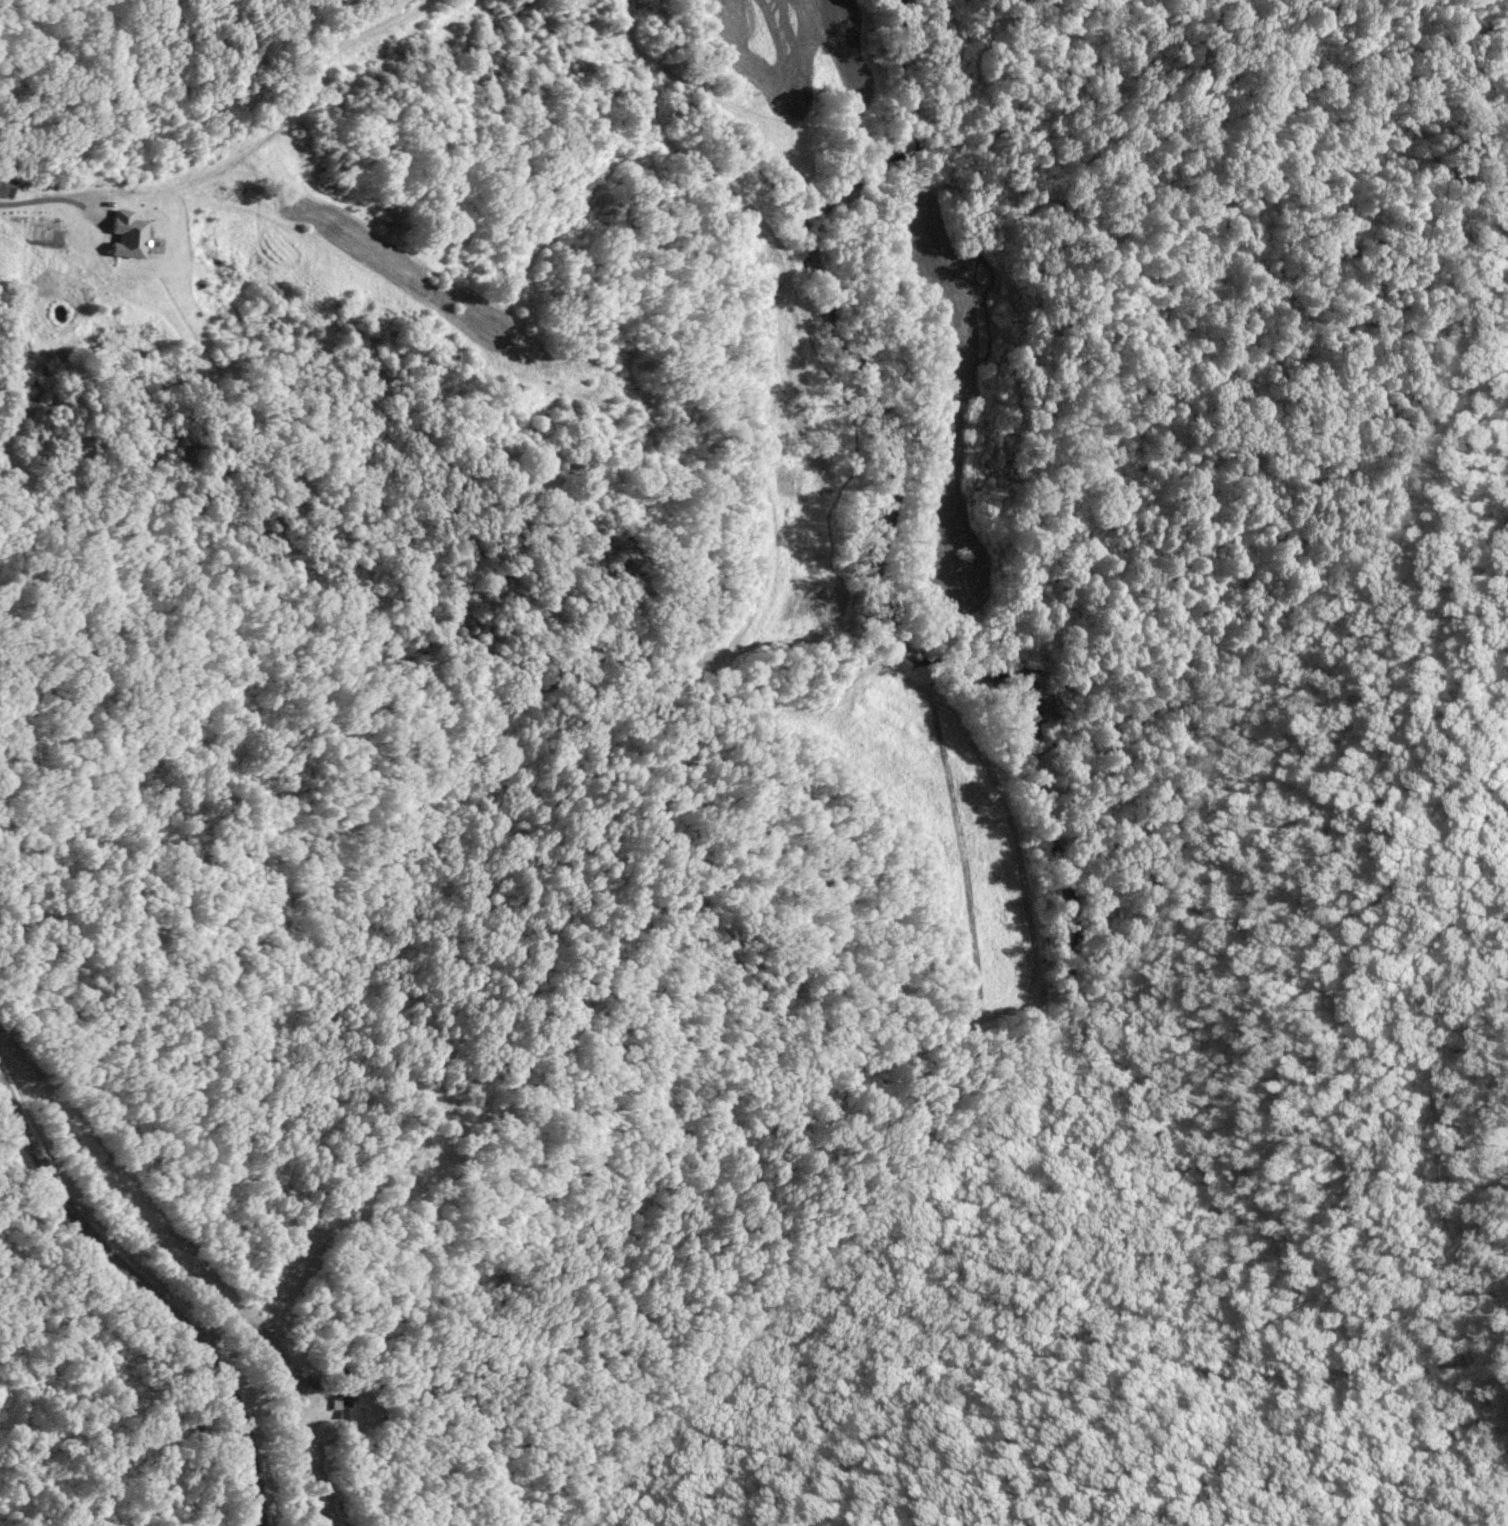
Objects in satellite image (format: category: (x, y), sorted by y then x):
building: (6, 186)
road: (49, 196)
building: (435, 1146)
road: (305, 1266)
road: (145, 1290)
building: (342, 1393)

